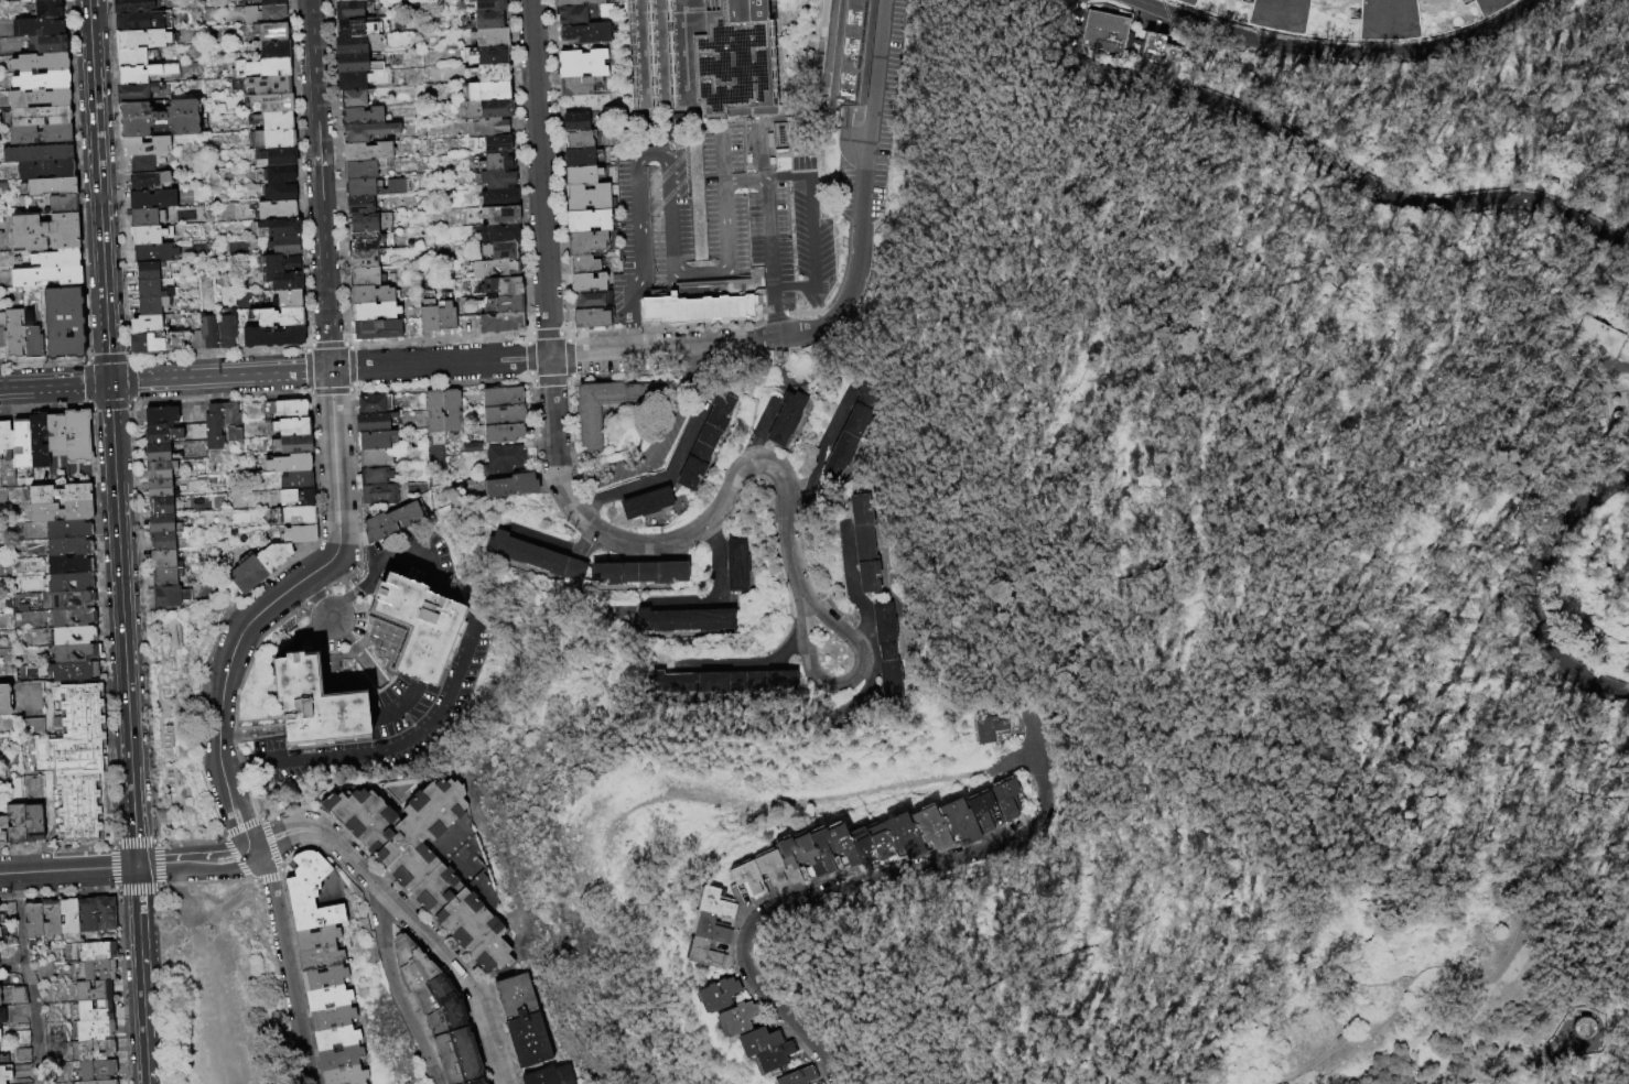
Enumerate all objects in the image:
building: (348, 0)
building: (578, 2)
building: (268, 3)
building: (486, 4)
building: (131, 6)
building: (47, 8)
building: (347, 10)
building: (571, 14)
building: (1455, 14)
building: (261, 15)
building: (1321, 18)
building: (141, 20)
building: (484, 21)
building: (36, 26)
building: (350, 28)
building: (268, 32)
building: (1104, 32)
building: (585, 33)
building: (140, 37)
building: (487, 37)
building: (45, 43)
building: (352, 45)
building: (1162, 48)
building: (269, 50)
road: (1337, 50)
building: (844, 51)
building: (489, 55)
road: (862, 55)
building: (130, 56)
building: (697, 56)
building: (40, 62)
building: (582, 63)
building: (353, 65)
building: (1134, 67)
building: (259, 68)
building: (143, 72)
building: (486, 74)
building: (41, 80)
building: (348, 82)
road: (623, 84)
building: (579, 85)
building: (260, 86)
building: (134, 91)
building: (486, 93)
building: (39, 97)
building: (352, 98)
building: (270, 104)
road: (1231, 107)
road: (568, 108)
building: (486, 110)
building: (39, 116)
building: (359, 117)
building: (158, 118)
building: (272, 121)
building: (574, 123)
road: (855, 123)
building: (487, 128)
building: (366, 132)
building: (40, 133)
building: (1627, 137)
building: (270, 140)
building: (576, 140)
building: (144, 145)
building: (495, 145)
road: (853, 145)
road: (650, 150)
building: (365, 152)
building: (36, 153)
road: (723, 156)
building: (276, 158)
building: (576, 158)
building: (144, 162)
building: (495, 163)
road: (518, 166)
road: (555, 166)
building: (44, 169)
building: (359, 170)
road: (298, 173)
building: (272, 175)
road: (786, 175)
building: (579, 176)
road: (751, 177)
building: (148, 180)
building: (495, 180)
road: (865, 181)
road: (320, 184)
building: (51, 185)
building: (371, 188)
road: (98, 191)
building: (277, 193)
building: (151, 198)
building: (497, 198)
building: (585, 198)
road: (1542, 203)
building: (62, 204)
building: (357, 206)
road: (1395, 206)
road: (667, 207)
parking lot: (704, 207)
building: (274, 210)
road: (1238, 214)
building: (500, 216)
building: (142, 217)
building: (586, 221)
building: (368, 224)
road: (726, 224)
road: (768, 225)
building: (805, 225)
building: (274, 228)
building: (45, 231)
road: (810, 232)
building: (497, 234)
building: (144, 235)
road: (640, 241)
building: (362, 242)
road: (541, 242)
building: (584, 243)
building: (281, 246)
building: (498, 251)
building: (153, 252)
road: (845, 252)
building: (55, 258)
building: (362, 259)
road: (339, 263)
building: (277, 264)
building: (581, 265)
road: (123, 267)
building: (151, 270)
building: (492, 270)
road: (698, 273)
building: (44, 275)
building: (363, 278)
building: (281, 281)
building: (586, 283)
road: (788, 286)
building: (499, 288)
building: (151, 289)
building: (369, 295)
road: (1176, 295)
building: (285, 300)
building: (589, 301)
road: (775, 302)
building: (150, 305)
building: (507, 305)
building: (692, 308)
building: (371, 312)
road: (773, 315)
building: (277, 317)
building: (425, 317)
building: (443, 317)
building: (590, 318)
building: (62, 322)
building: (498, 324)
building: (144, 325)
road: (673, 328)
building: (2, 330)
building: (226, 330)
building: (375, 330)
building: (208, 332)
building: (13, 333)
road: (544, 333)
road: (565, 334)
road: (630, 335)
building: (31, 336)
road: (526, 336)
building: (270, 337)
building: (1600, 337)
building: (193, 339)
building: (171, 340)
building: (143, 344)
road: (326, 344)
road: (306, 347)
road: (675, 350)
road: (129, 355)
road: (569, 357)
road: (745, 357)
road: (528, 358)
road: (439, 362)
road: (349, 366)
road: (306, 369)
road: (219, 376)
road: (529, 378)
road: (549, 380)
road: (569, 380)
traffic signals: (110, 382)
road: (54, 384)
road: (330, 391)
building: (500, 398)
building: (374, 404)
building: (282, 410)
building: (433, 412)
building: (451, 412)
building: (161, 416)
building: (503, 416)
road: (751, 418)
building: (783, 419)
building: (230, 422)
building: (374, 423)
building: (213, 427)
building: (290, 427)
road: (759, 427)
building: (586, 429)
building: (854, 431)
building: (53, 432)
building: (159, 434)
building: (503, 434)
building: (3, 435)
building: (75, 435)
building: (35, 440)
building: (375, 440)
road: (654, 442)
building: (704, 443)
building: (19, 444)
building: (291, 445)
road: (821, 447)
parking lot: (644, 449)
building: (0, 452)
building: (158, 453)
road: (334, 456)
building: (374, 458)
building: (505, 458)
building: (288, 464)
building: (160, 469)
building: (375, 477)
building: (295, 480)
road: (659, 480)
road: (355, 485)
building: (509, 487)
building: (160, 489)
building: (379, 495)
building: (57, 496)
road: (727, 496)
building: (295, 498)
building: (644, 505)
building: (160, 506)
building: (57, 513)
building: (296, 516)
building: (390, 521)
road: (1560, 523)
building: (160, 524)
road: (1172, 529)
building: (65, 531)
building: (299, 534)
building: (161, 541)
road: (558, 544)
building: (865, 544)
building: (66, 550)
building: (270, 557)
building: (537, 557)
building: (163, 560)
road: (416, 562)
road: (1603, 563)
building: (66, 566)
building: (736, 566)
building: (640, 574)
building: (245, 575)
building: (164, 577)
road: (337, 578)
road: (98, 579)
building: (67, 584)
road: (364, 584)
road: (851, 585)
road: (355, 590)
park: (1187, 590)
building: (171, 596)
road: (314, 597)
road: (719, 598)
road: (319, 599)
building: (68, 601)
road: (276, 603)
road: (1603, 610)
road: (1572, 616)
road: (805, 617)
road: (294, 618)
building: (69, 619)
building: (684, 621)
road: (123, 624)
building: (422, 626)
road: (1622, 630)
road: (299, 635)
road: (1342, 635)
building: (71, 637)
road: (354, 647)
building: (888, 652)
building: (71, 654)
road: (744, 662)
road: (1564, 663)
road: (863, 668)
building: (69, 672)
building: (722, 683)
road: (234, 698)
building: (4, 701)
building: (314, 706)
building: (31, 725)
building: (992, 728)
road: (397, 747)
road: (1021, 761)
building: (73, 763)
road: (236, 763)
building: (1004, 798)
road: (790, 801)
road: (1468, 812)
road: (267, 816)
building: (1001, 816)
road: (261, 820)
building: (33, 823)
building: (15, 824)
building: (979, 824)
road: (242, 826)
road: (222, 827)
building: (0, 831)
building: (957, 833)
building: (928, 837)
building: (402, 838)
road: (192, 839)
road: (154, 841)
road: (133, 842)
road: (111, 843)
building: (899, 843)
road: (271, 845)
building: (839, 845)
road: (55, 847)
building: (800, 847)
building: (876, 847)
building: (859, 849)
building: (821, 852)
building: (784, 856)
road: (238, 859)
road: (157, 864)
road: (196, 864)
building: (766, 864)
traffic signals: (137, 867)
road: (112, 868)
road: (68, 870)
building: (741, 871)
road: (267, 875)
road: (267, 876)
road: (158, 887)
road: (114, 888)
road: (137, 890)
road: (117, 891)
road: (855, 891)
building: (309, 895)
building: (698, 909)
building: (103, 914)
building: (84, 915)
building: (66, 917)
road: (409, 918)
building: (48, 919)
building: (31, 920)
road: (1517, 926)
road: (1577, 926)
building: (472, 933)
building: (1, 935)
building: (694, 935)
building: (315, 939)
building: (96, 952)
building: (319, 958)
road: (1450, 958)
building: (688, 960)
building: (407, 965)
building: (97, 971)
road: (142, 975)
road: (121, 976)
road: (1381, 976)
road: (28, 978)
building: (322, 978)
park: (222, 988)
road: (395, 989)
building: (91, 990)
building: (716, 994)
road: (1395, 994)
building: (17, 997)
building: (326, 999)
road: (925, 1001)
building: (698, 1002)
building: (433, 1006)
building: (94, 1011)
road: (1460, 1012)
building: (2, 1016)
building: (331, 1018)
building: (734, 1018)
building: (520, 1022)
road: (1360, 1025)
building: (716, 1026)
building: (1585, 1030)
building: (93, 1031)
building: (19, 1038)
building: (334, 1039)
building: (740, 1048)
road: (1320, 1049)
building: (94, 1051)
building: (21, 1055)
building: (452, 1056)
building: (3, 1059)
building: (338, 1059)
building: (755, 1064)
road: (1485, 1064)
building: (91, 1071)
road: (1284, 1074)
building: (4, 1075)
building: (344, 1076)
building: (548, 1077)
building: (787, 1080)
building: (97, 1082)
building: (473, 1082)

